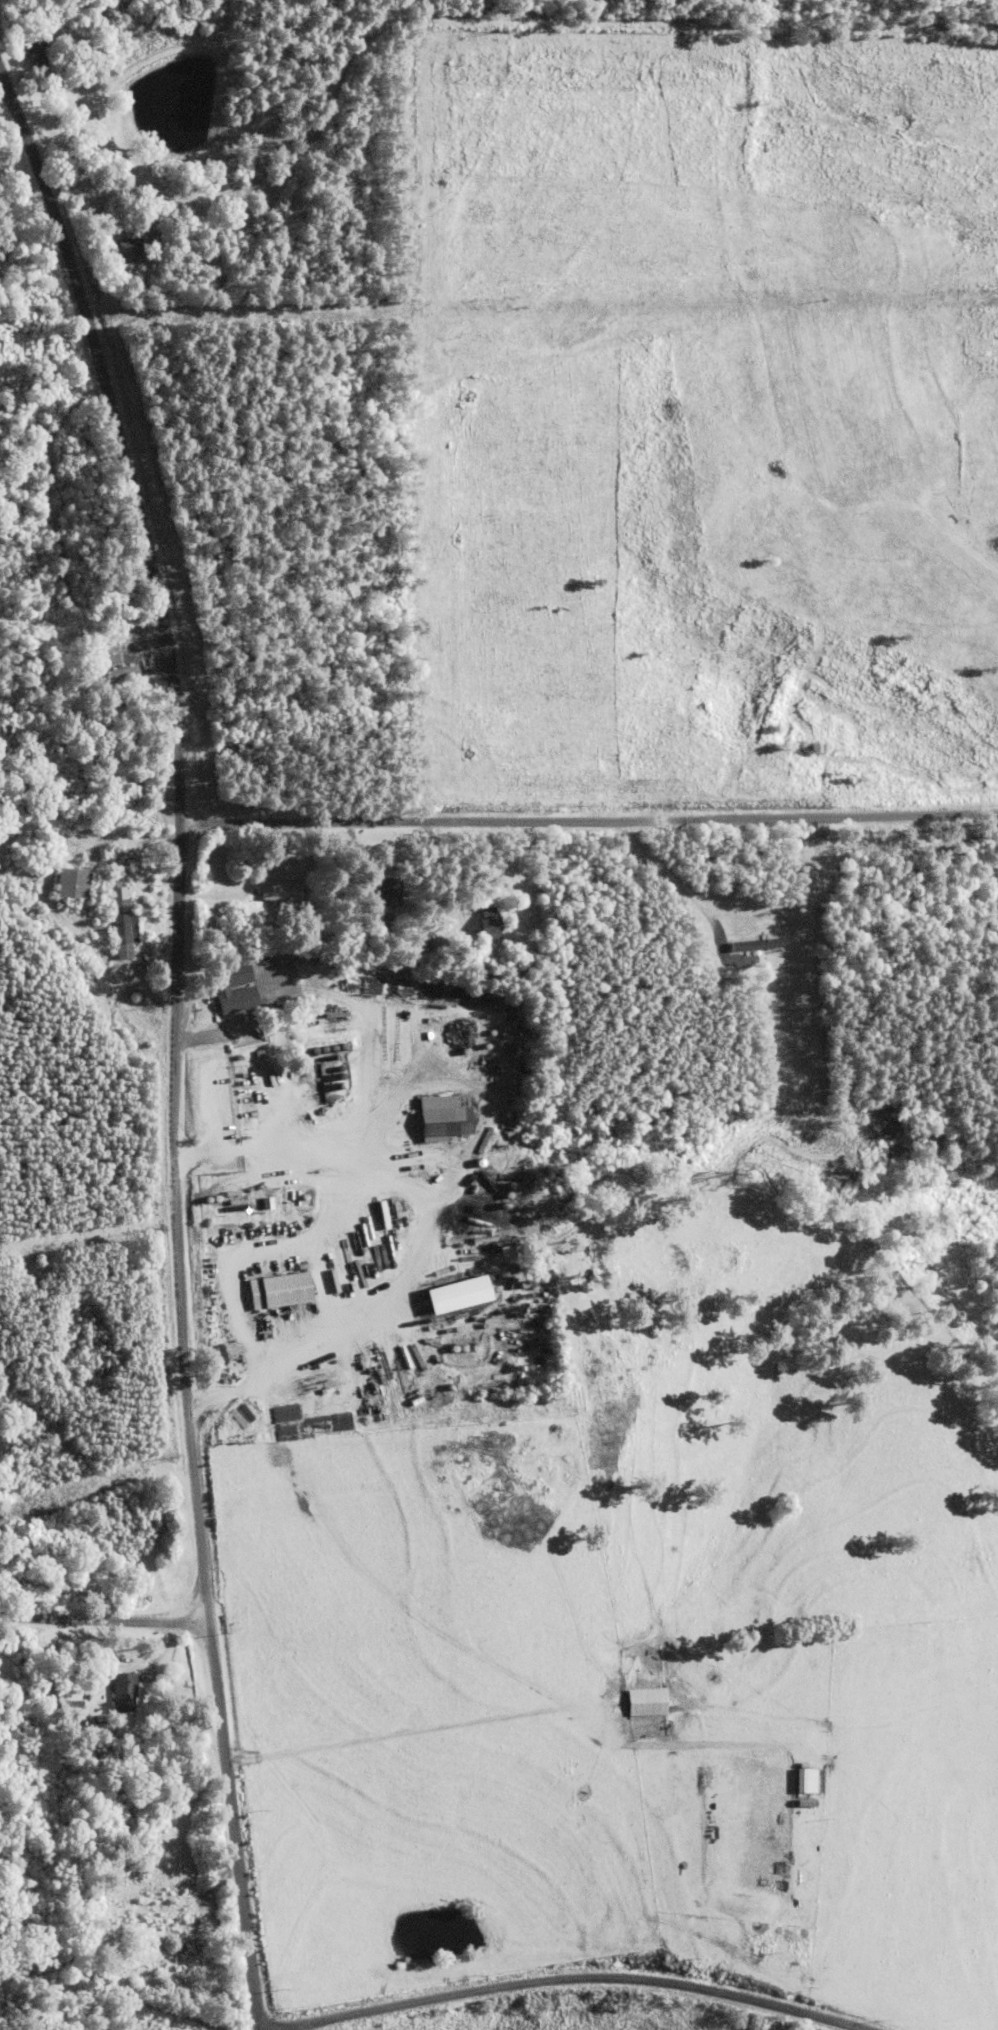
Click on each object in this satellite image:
building: (20, 50)
building: (171, 272)
building: (107, 674)
road: (585, 798)
building: (110, 858)
building: (69, 884)
building: (277, 892)
building: (374, 893)
building: (475, 923)
building: (117, 924)
building: (231, 998)
road: (178, 1085)
building: (445, 1117)
building: (279, 1290)
road: (99, 1613)
building: (109, 1693)
building: (635, 1700)
road: (563, 1979)

